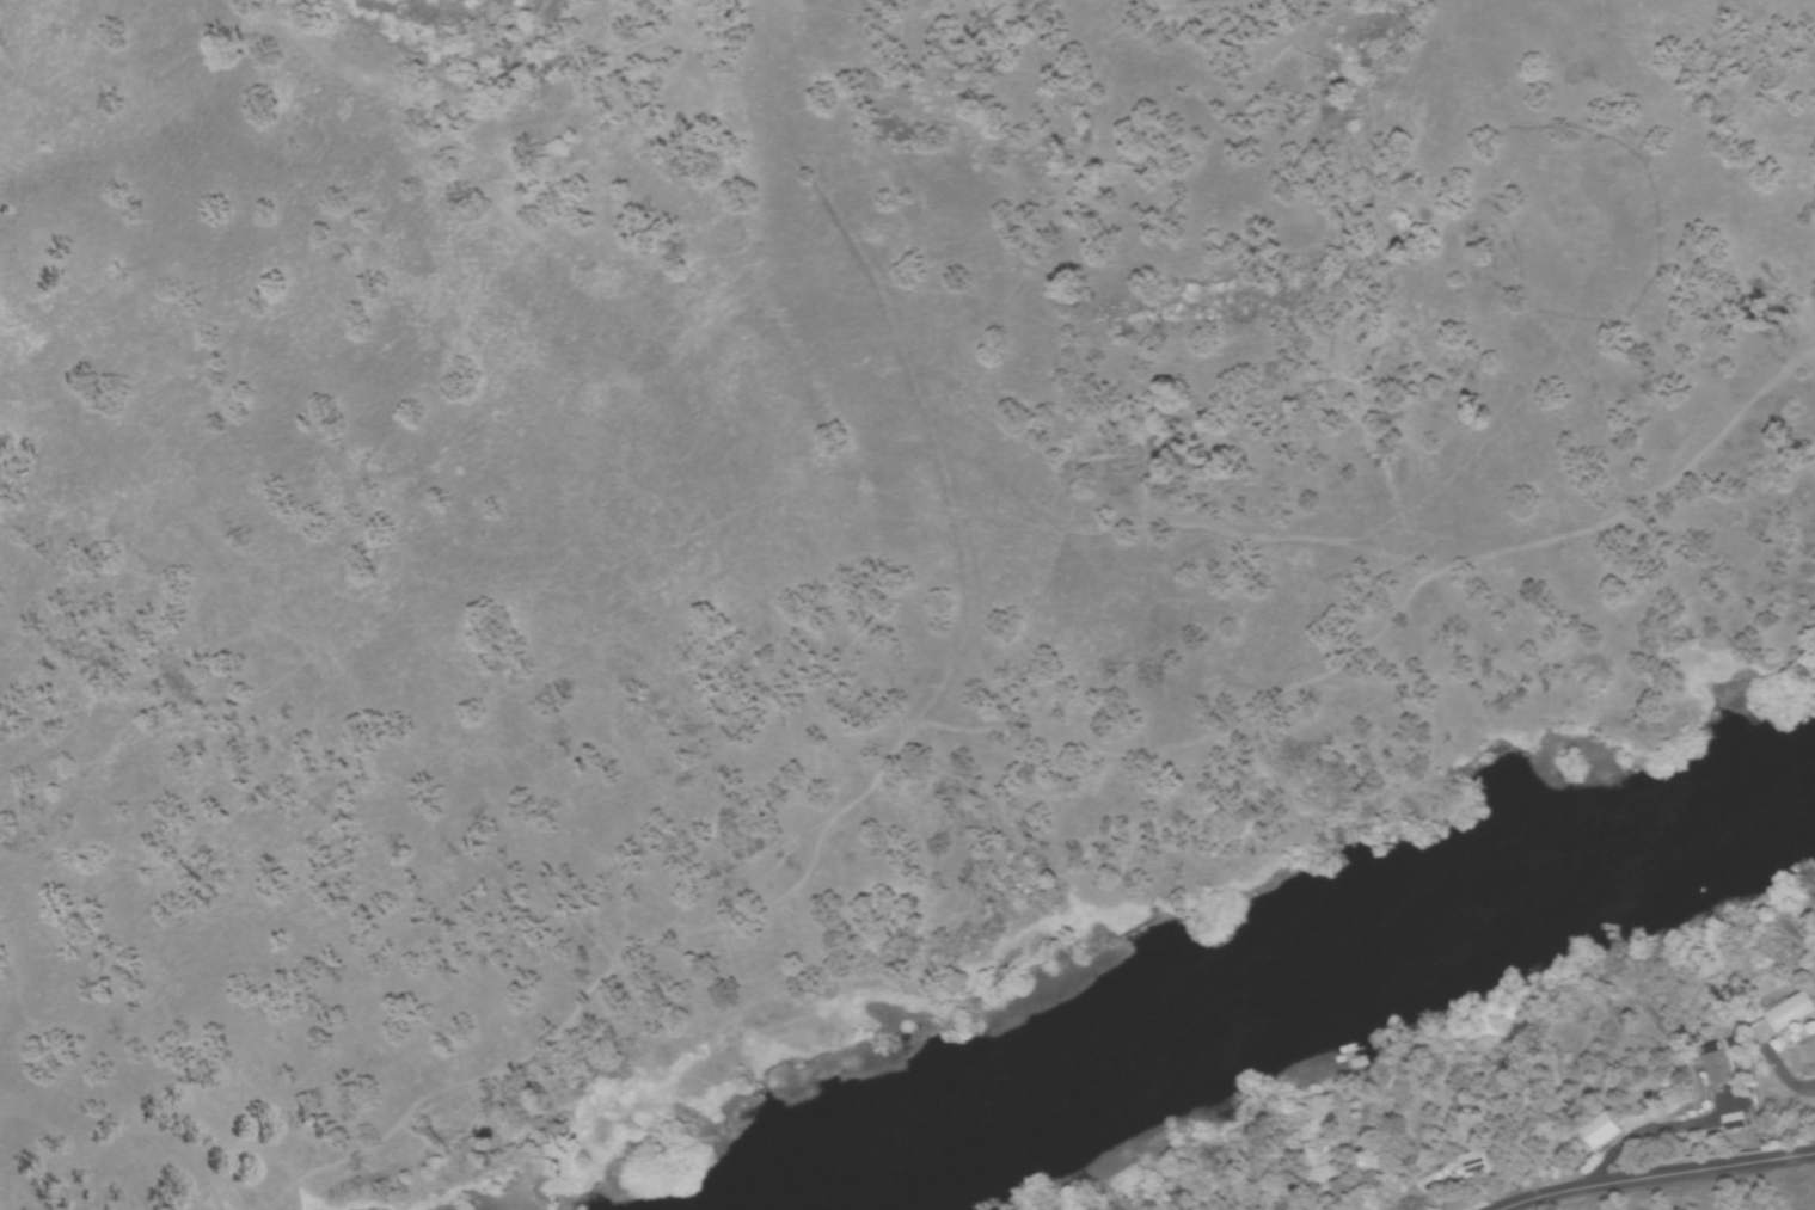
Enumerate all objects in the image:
building: (1615, 934)
building: (1791, 1012)
building: (1784, 1026)
building: (1357, 1063)
building: (1701, 1067)
building: (1715, 1079)
building: (1595, 1145)
building: (1476, 1166)
building: (1359, 1187)
road: (1686, 1188)

